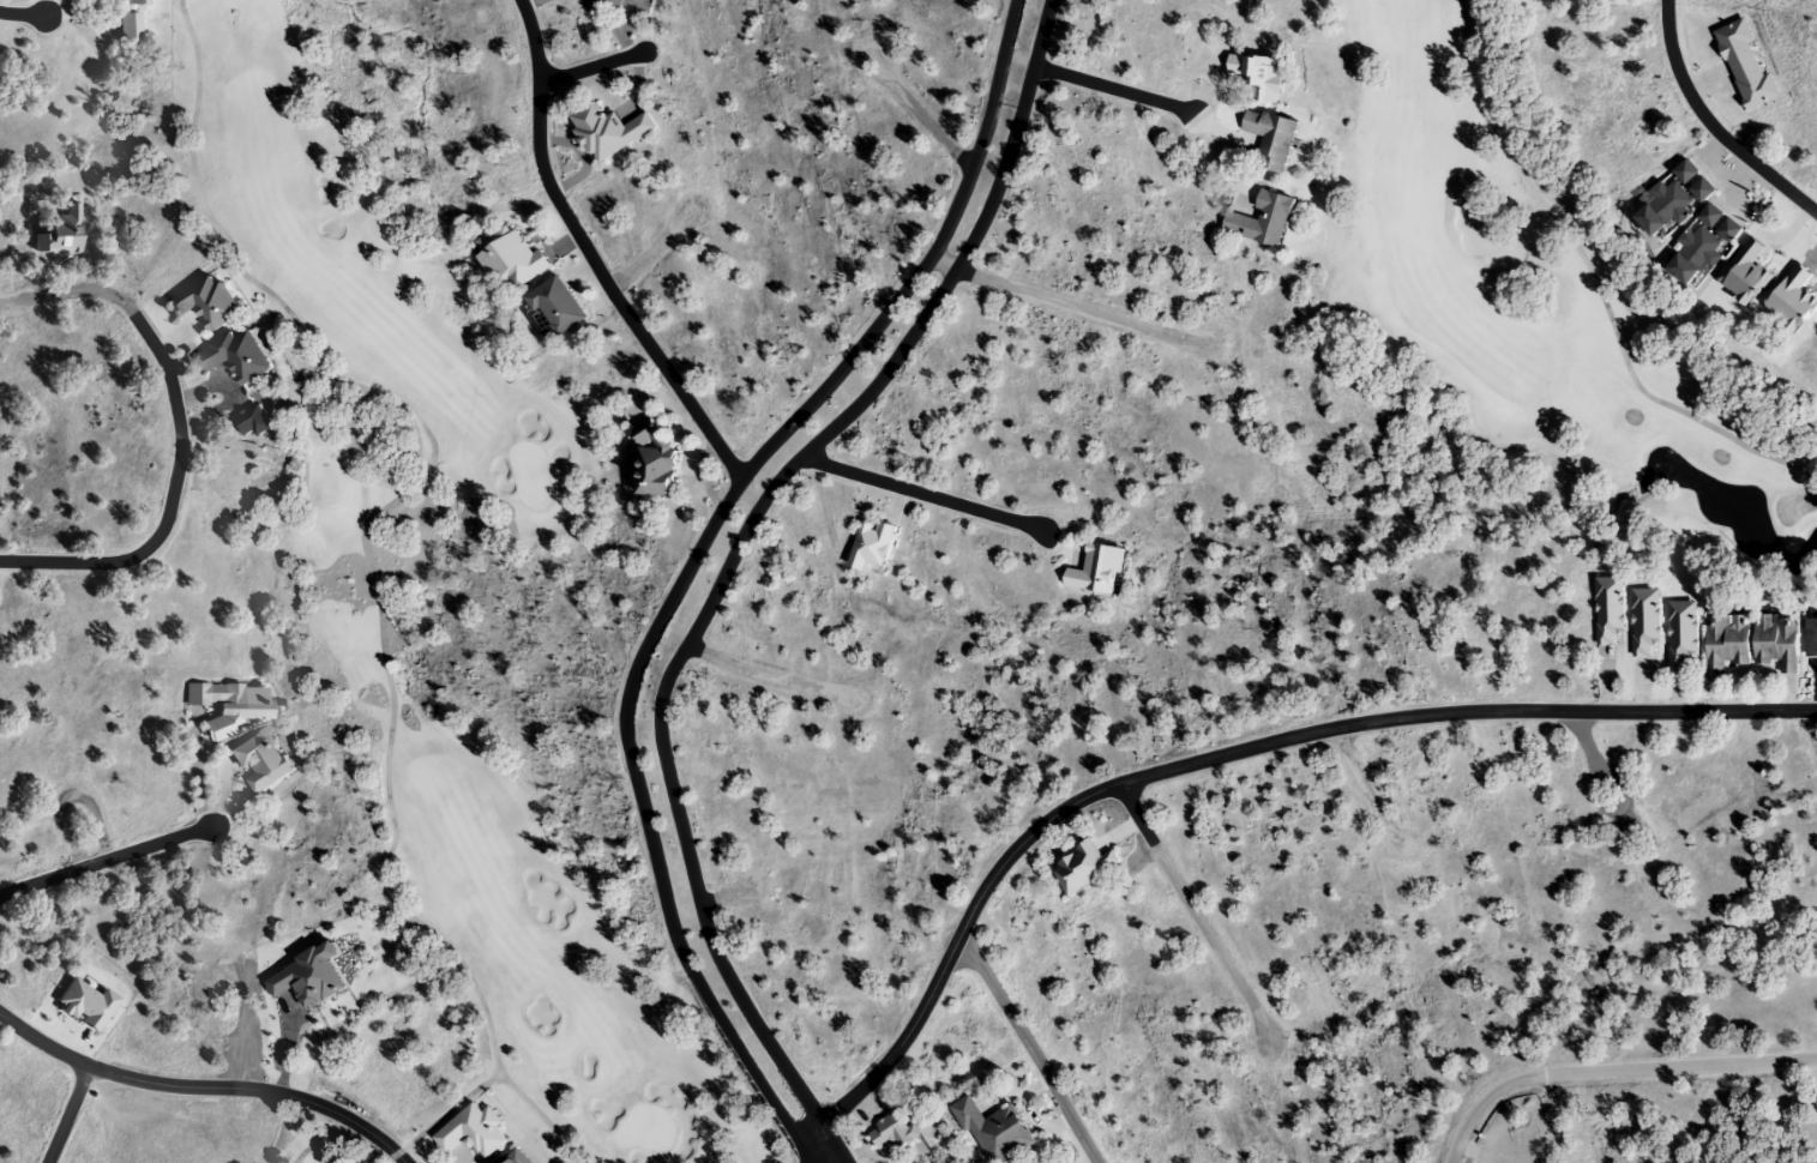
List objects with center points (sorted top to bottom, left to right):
building: (1584, 0)
building: (133, 2)
building: (609, 4)
road: (23, 14)
building: (126, 28)
road: (590, 66)
road: (1112, 89)
road: (921, 116)
road: (1710, 126)
building: (607, 132)
building: (1269, 140)
building: (1672, 201)
building: (1262, 222)
building: (1702, 245)
road: (652, 246)
building: (509, 257)
road: (597, 270)
road: (1061, 301)
building: (206, 302)
building: (554, 306)
park: (1529, 309)
building: (235, 356)
road: (181, 433)
building: (651, 459)
road: (922, 494)
road: (690, 560)
road: (730, 564)
building: (1096, 570)
park: (353, 587)
building: (1608, 609)
building: (1644, 620)
building: (1680, 634)
building: (1810, 638)
building: (1775, 641)
building: (1723, 643)
road: (769, 674)
building: (227, 705)
road: (1219, 755)
building: (259, 759)
road: (1594, 760)
road: (1364, 785)
road: (82, 830)
road: (104, 861)
building: (1082, 868)
road: (723, 897)
road: (1195, 912)
road: (1031, 1049)
road: (1610, 1069)
road: (205, 1085)
road: (67, 1115)
building: (993, 1131)
building: (471, 1132)
building: (892, 1132)

